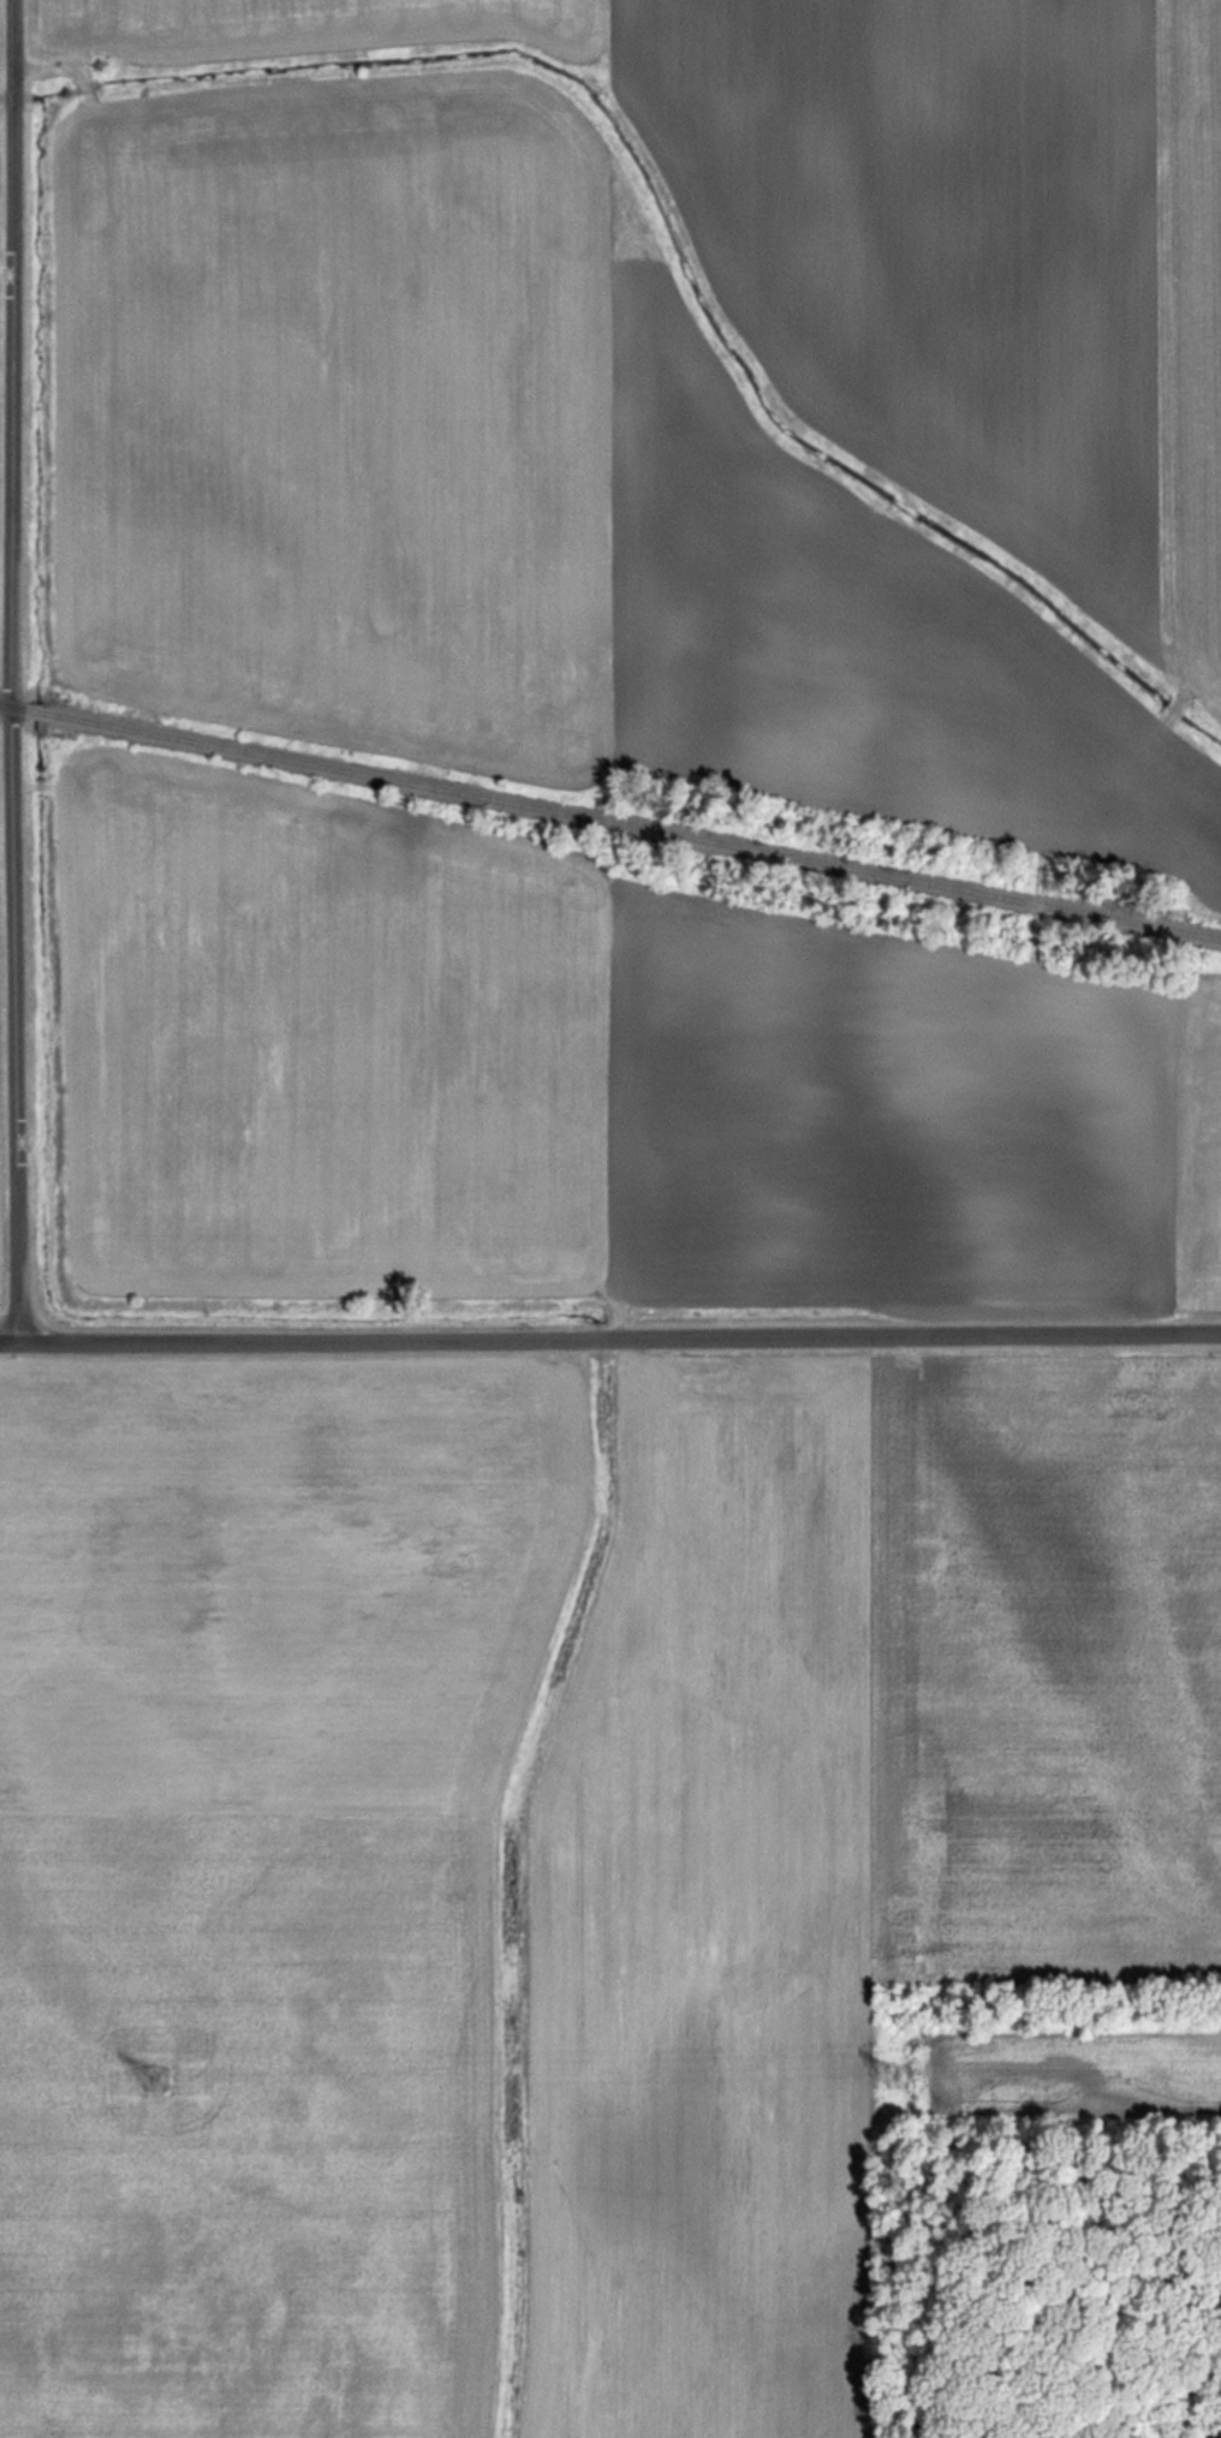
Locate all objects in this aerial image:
road: (5, 670)
railway: (609, 822)
road: (609, 1337)
power tower: (900, 2078)
power tower: (154, 2085)

